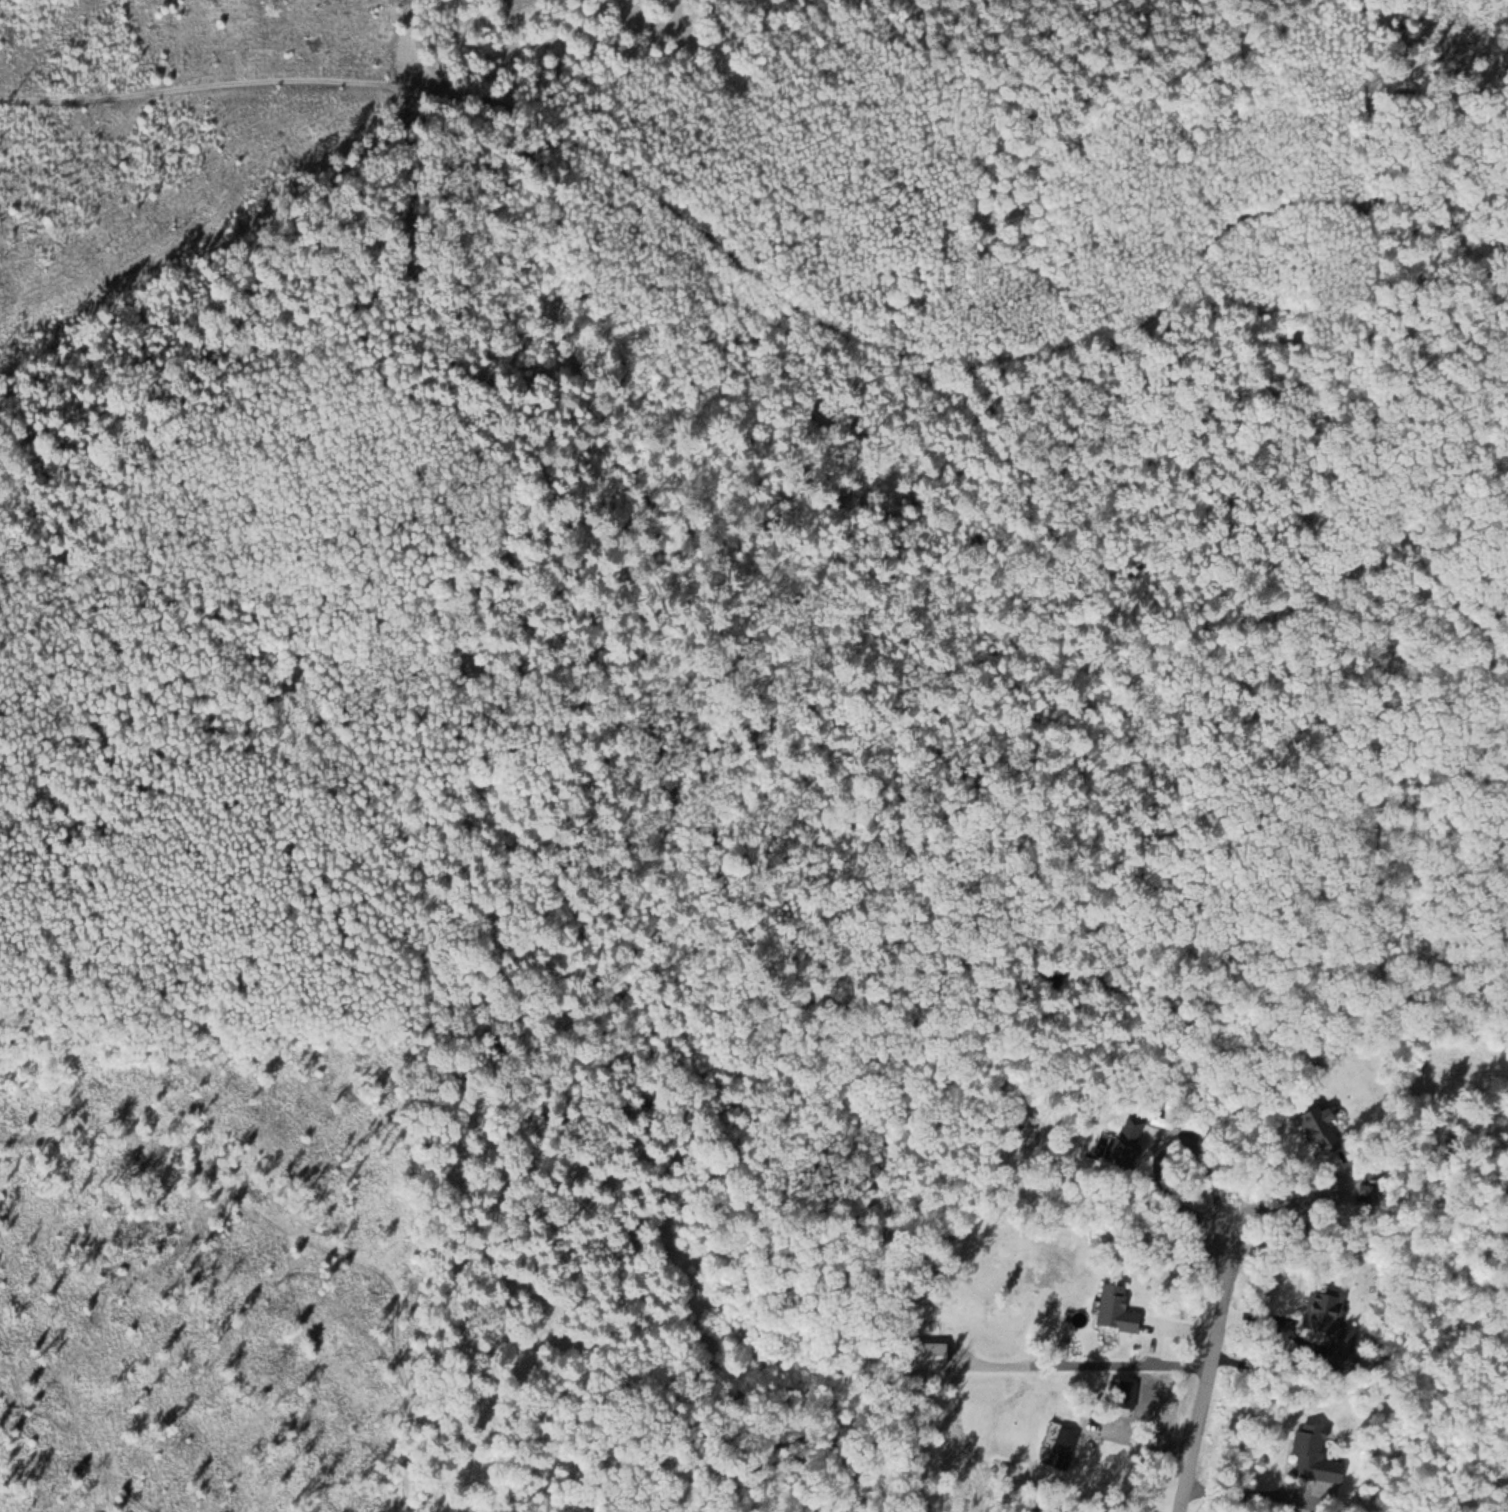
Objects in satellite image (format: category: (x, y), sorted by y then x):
road: (791, 293)
building: (1327, 1138)
building: (1136, 1143)
road: (1295, 1203)
road: (1194, 1218)
building: (1119, 1309)
building: (1329, 1313)
road: (1252, 1318)
building: (938, 1355)
road: (1211, 1362)
road: (1094, 1368)
building: (1064, 1446)
building: (1329, 1458)
road: (1243, 1493)

